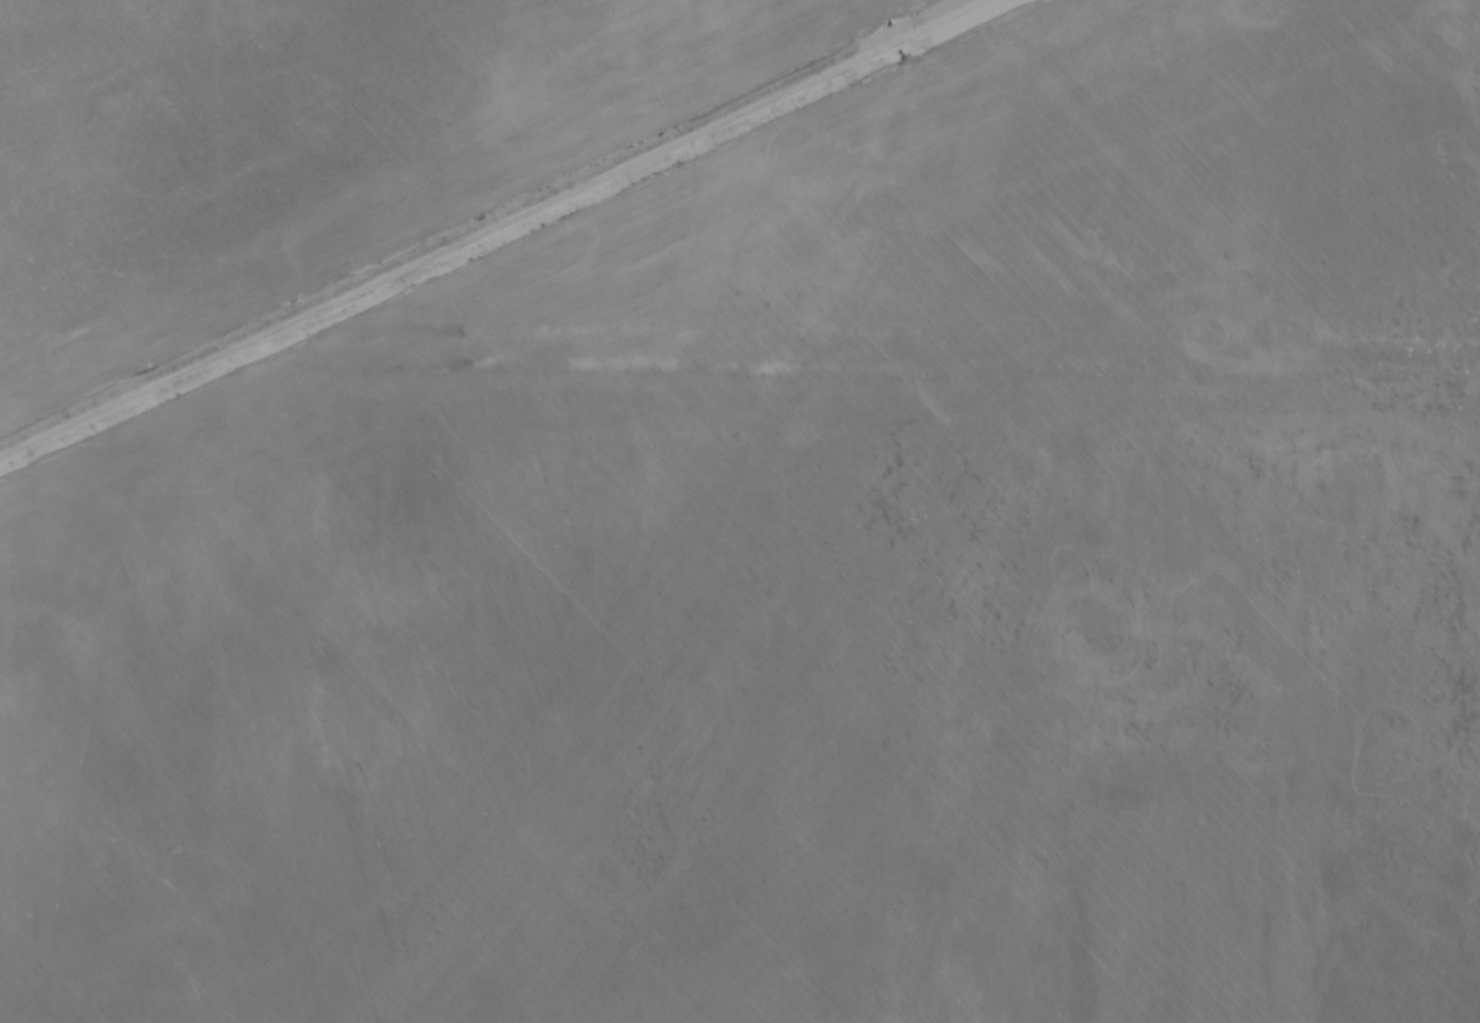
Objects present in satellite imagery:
road: (740, 361)

